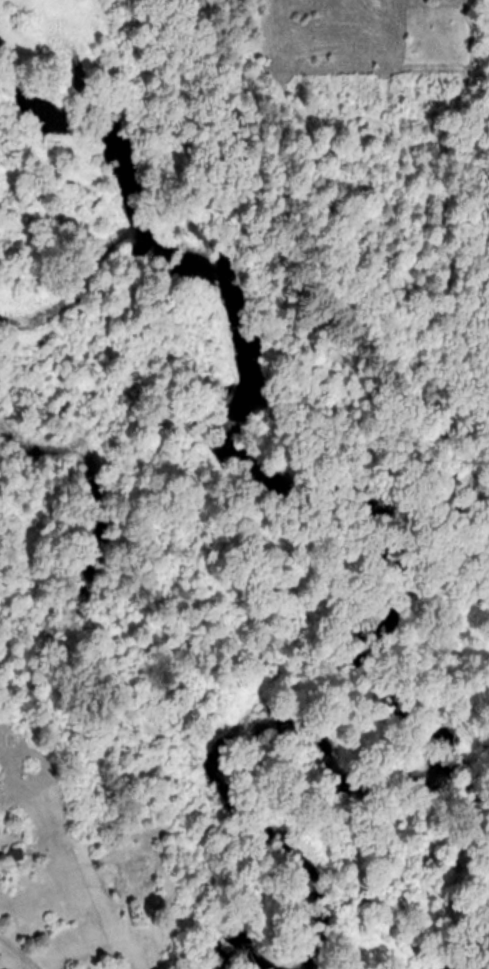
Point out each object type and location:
building: (17, 856)
road: (12, 956)

